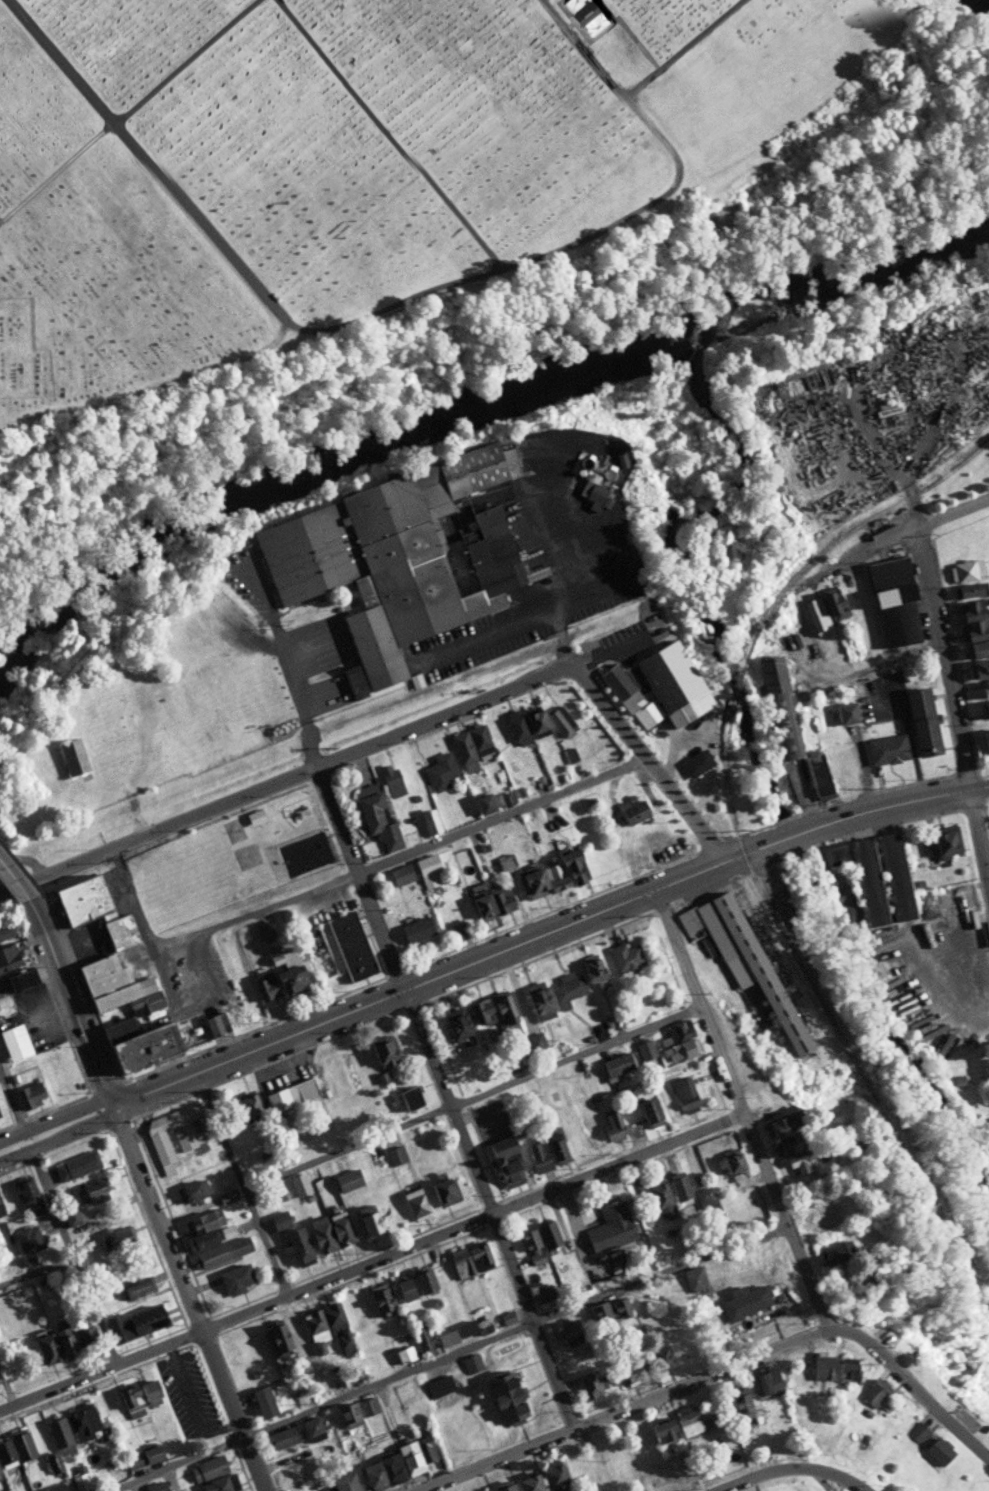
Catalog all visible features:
building: (588, 16)
road: (680, 46)
road: (127, 107)
park: (347, 156)
road: (221, 245)
road: (535, 256)
road: (151, 386)
road: (855, 387)
river: (476, 406)
building: (590, 490)
railway: (865, 519)
road: (899, 534)
building: (396, 557)
building: (965, 570)
building: (966, 590)
building: (893, 602)
building: (825, 610)
building: (973, 629)
building: (849, 647)
road: (284, 655)
building: (978, 670)
building: (353, 682)
road: (955, 686)
railway: (733, 687)
building: (984, 688)
building: (644, 689)
building: (778, 702)
building: (985, 710)
building: (845, 712)
building: (560, 720)
building: (922, 721)
building: (525, 724)
building: (985, 741)
building: (471, 746)
building: (885, 748)
building: (71, 756)
road: (650, 762)
road: (306, 769)
building: (439, 771)
building: (700, 775)
building: (390, 779)
road: (924, 795)
building: (482, 804)
building: (632, 813)
building: (375, 814)
road: (502, 814)
building: (253, 815)
building: (429, 822)
building: (942, 841)
park: (304, 851)
park: (234, 858)
building: (426, 866)
building: (400, 874)
building: (550, 875)
building: (894, 877)
road: (17, 880)
building: (867, 882)
road: (19, 884)
road: (2, 891)
building: (490, 902)
building: (956, 903)
road: (216, 905)
road: (203, 929)
building: (415, 930)
building: (6, 932)
building: (346, 947)
road: (488, 957)
building: (7, 958)
building: (625, 958)
building: (741, 965)
building: (591, 968)
building: (289, 976)
building: (24, 978)
building: (263, 985)
building: (58, 988)
building: (567, 990)
building: (536, 999)
building: (246, 1000)
road: (700, 1001)
road: (74, 1002)
parking lot: (45, 1007)
building: (503, 1009)
building: (480, 1012)
railway: (829, 1018)
building: (214, 1025)
building: (454, 1025)
building: (678, 1041)
building: (14, 1043)
building: (142, 1049)
building: (646, 1052)
building: (383, 1053)
building: (616, 1065)
building: (985, 1070)
building: (471, 1075)
building: (300, 1091)
road: (12, 1093)
building: (28, 1094)
road: (476, 1094)
building: (684, 1094)
road: (450, 1095)
building: (409, 1098)
building: (247, 1105)
building: (647, 1111)
road: (56, 1115)
building: (491, 1119)
building: (776, 1125)
building: (612, 1126)
building: (175, 1132)
road: (60, 1137)
building: (395, 1154)
building: (792, 1154)
building: (505, 1160)
building: (74, 1165)
building: (733, 1166)
road: (248, 1179)
building: (347, 1179)
building: (299, 1184)
building: (679, 1188)
building: (92, 1190)
building: (190, 1190)
building: (443, 1190)
building: (28, 1195)
building: (703, 1196)
building: (661, 1200)
building: (413, 1201)
building: (1, 1209)
building: (68, 1213)
building: (821, 1216)
road: (790, 1218)
building: (609, 1226)
building: (199, 1230)
building: (330, 1231)
building: (547, 1232)
building: (28, 1238)
building: (114, 1239)
building: (297, 1245)
building: (530, 1245)
building: (222, 1251)
road: (80, 1252)
building: (832, 1253)
road: (371, 1256)
building: (469, 1258)
road: (183, 1270)
building: (235, 1278)
building: (422, 1279)
building: (694, 1279)
building: (136, 1286)
building: (403, 1288)
building: (380, 1298)
building: (745, 1300)
building: (609, 1310)
building: (132, 1321)
building: (328, 1324)
road: (519, 1328)
building: (462, 1330)
building: (285, 1333)
building: (84, 1334)
building: (421, 1335)
building: (54, 1345)
building: (405, 1353)
building: (661, 1357)
building: (471, 1363)
building: (820, 1367)
building: (845, 1369)
building: (625, 1372)
road: (719, 1372)
building: (765, 1381)
building: (588, 1382)
building: (438, 1386)
building: (148, 1392)
building: (871, 1394)
parking lot: (187, 1395)
road: (187, 1396)
building: (506, 1399)
building: (130, 1402)
building: (262, 1402)
building: (369, 1405)
building: (741, 1407)
building: (348, 1414)
building: (688, 1421)
building: (82, 1422)
building: (313, 1428)
building: (662, 1430)
building: (917, 1432)
building: (281, 1438)
building: (57, 1443)
building: (15, 1448)
building: (936, 1452)
building: (142, 1456)
road: (183, 1462)
building: (397, 1463)
road: (258, 1464)
building: (207, 1468)
road: (788, 1470)
building: (555, 1475)
building: (529, 1481)
building: (342, 1483)
building: (219, 1484)
building: (503, 1485)
building: (52, 1488)
building: (304, 1490)
building: (482, 1490)

